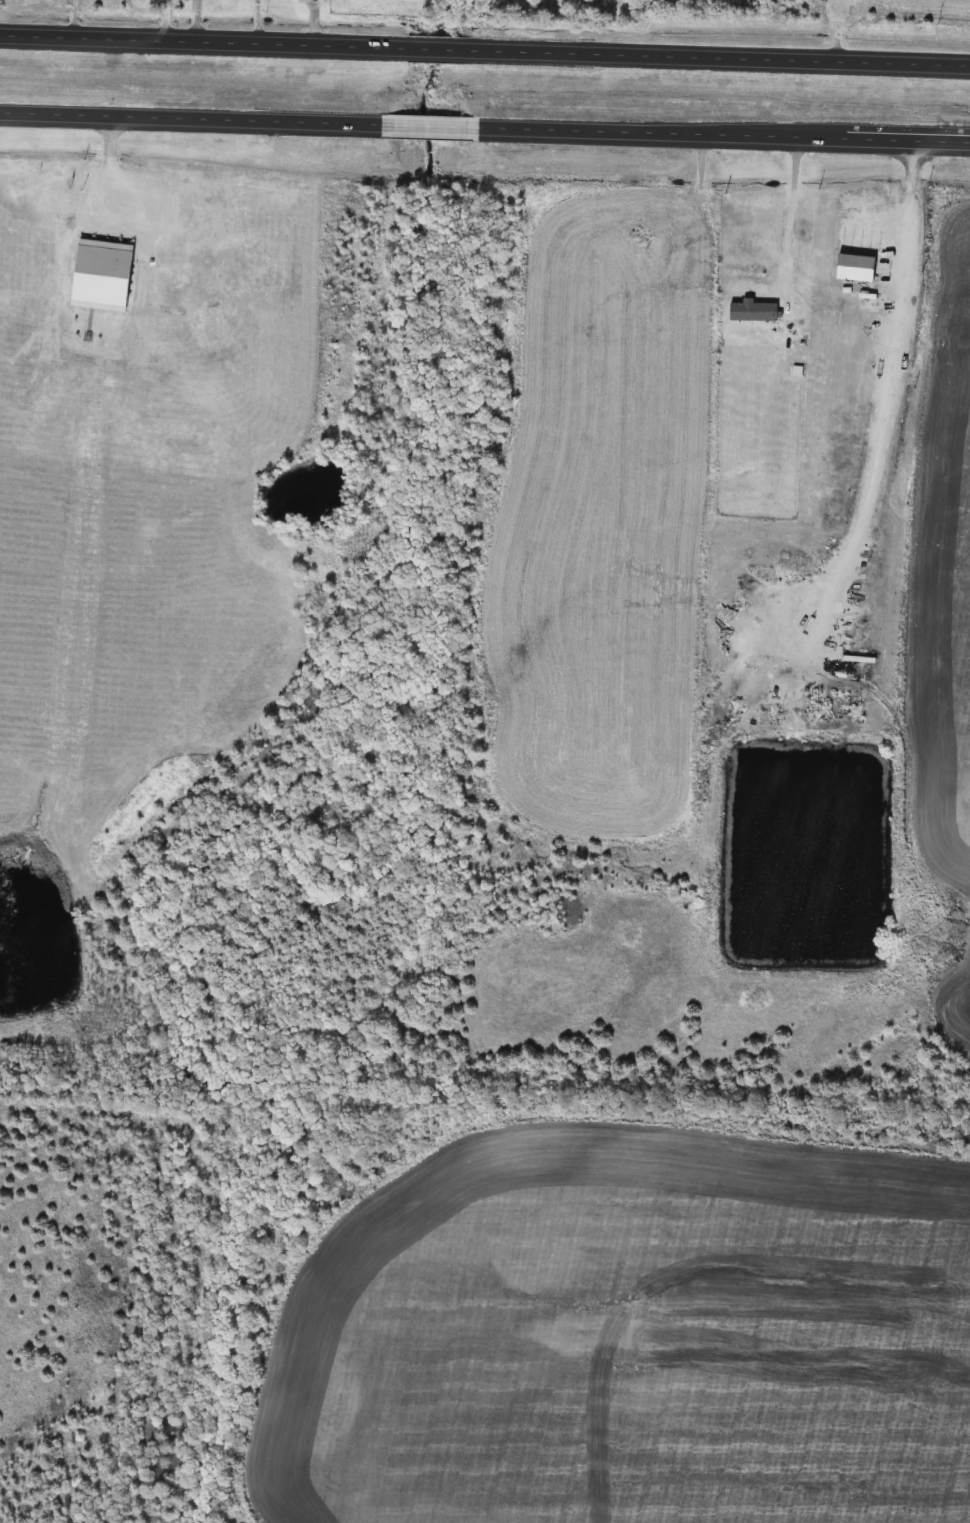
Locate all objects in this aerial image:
road: (166, 21)
road: (203, 43)
road: (438, 50)
road: (720, 58)
road: (189, 123)
building: (427, 128)
road: (427, 131)
road: (723, 140)
road: (790, 218)
building: (852, 268)
building: (752, 312)
road: (891, 405)

